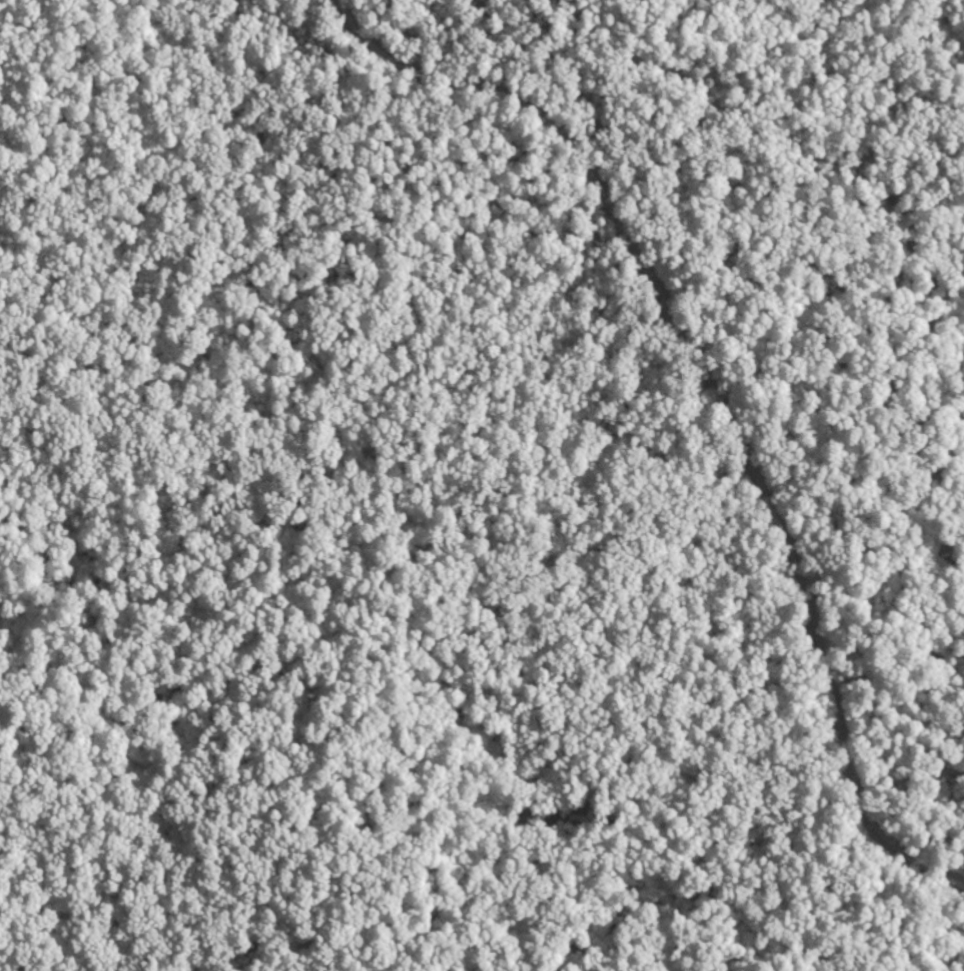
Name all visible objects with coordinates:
road: (716, 393)

